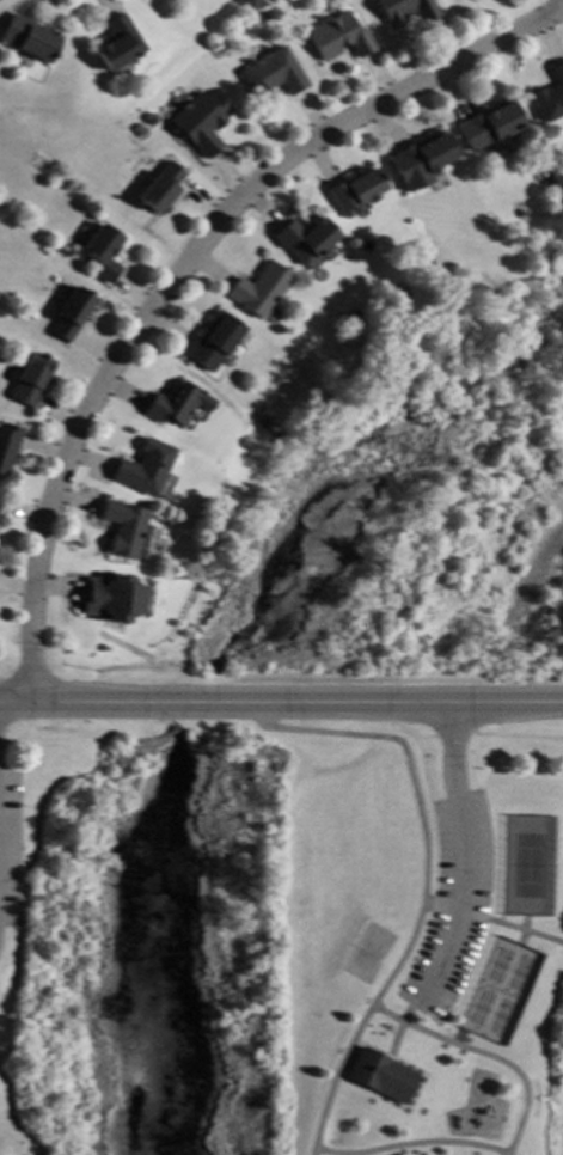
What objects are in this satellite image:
building: (405, 8)
building: (262, 17)
building: (338, 35)
building: (26, 37)
building: (117, 42)
building: (271, 72)
building: (550, 94)
building: (200, 120)
building: (488, 124)
building: (418, 160)
building: (355, 185)
building: (160, 187)
building: (305, 237)
building: (100, 250)
road: (180, 271)
building: (258, 288)
building: (69, 312)
building: (212, 340)
building: (30, 379)
building: (176, 403)
building: (7, 442)
building: (142, 465)
building: (121, 525)
building: (110, 595)
road: (281, 703)
road: (415, 799)
road: (459, 855)
park: (527, 866)
parking lot: (452, 906)
road: (492, 921)
park: (280, 936)
park: (366, 952)
park: (500, 990)
road: (485, 1053)
road: (336, 1072)
building: (381, 1075)
road: (406, 1143)

